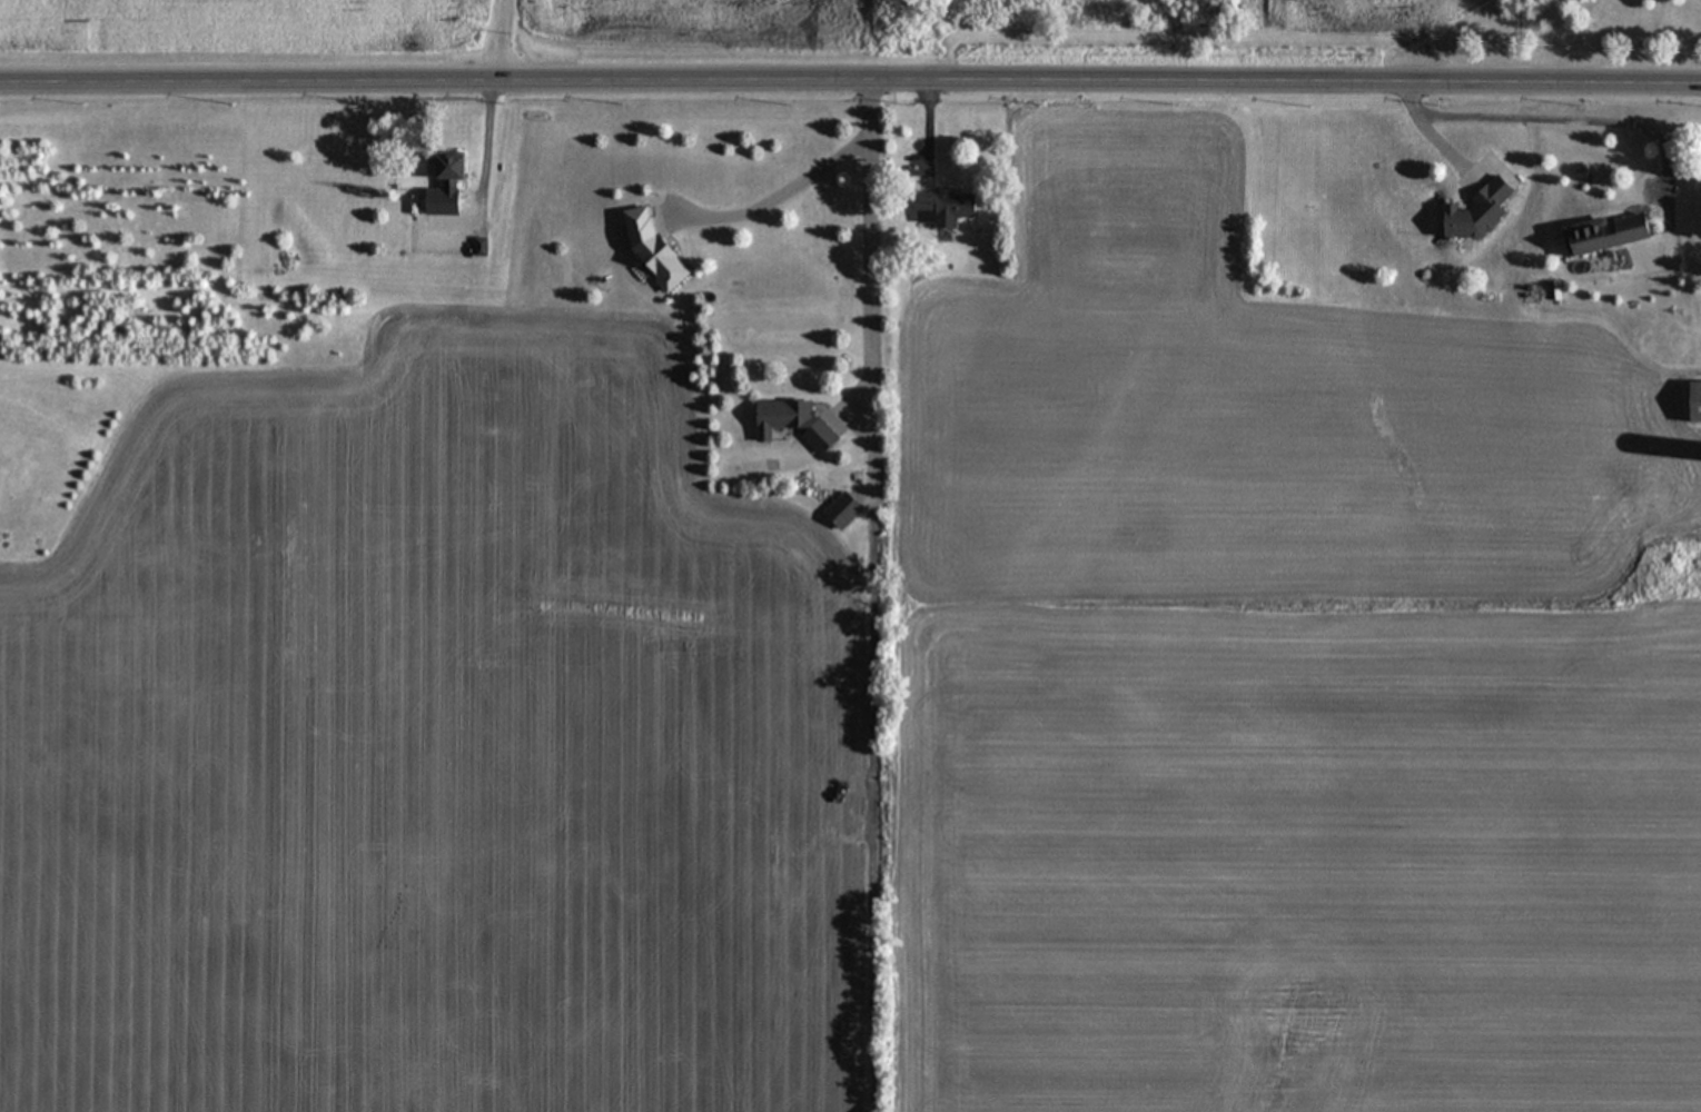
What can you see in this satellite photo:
road: (504, 40)
road: (850, 80)
road: (1564, 119)
road: (482, 148)
building: (461, 171)
road: (780, 197)
building: (948, 210)
building: (1472, 215)
building: (432, 221)
building: (1598, 235)
building: (661, 252)
road: (873, 258)
building: (1689, 403)
building: (799, 421)
road: (873, 449)
building: (851, 514)

